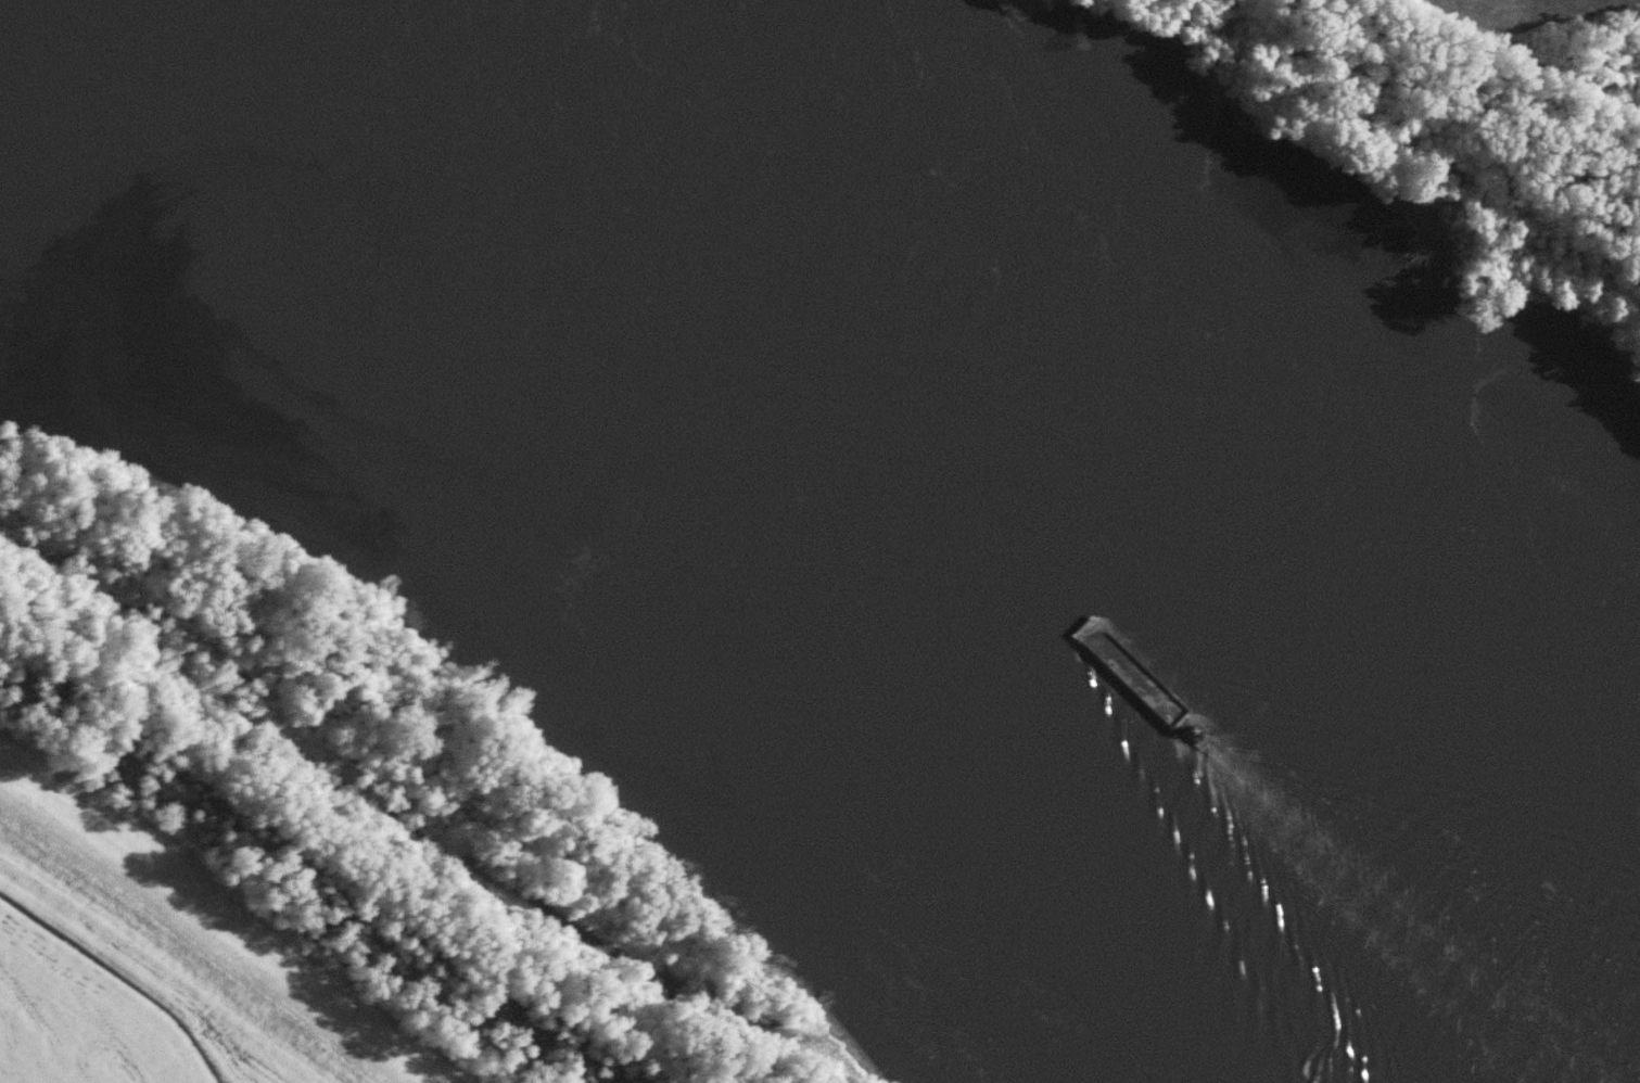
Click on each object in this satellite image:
river: (781, 489)
river: (1555, 990)

